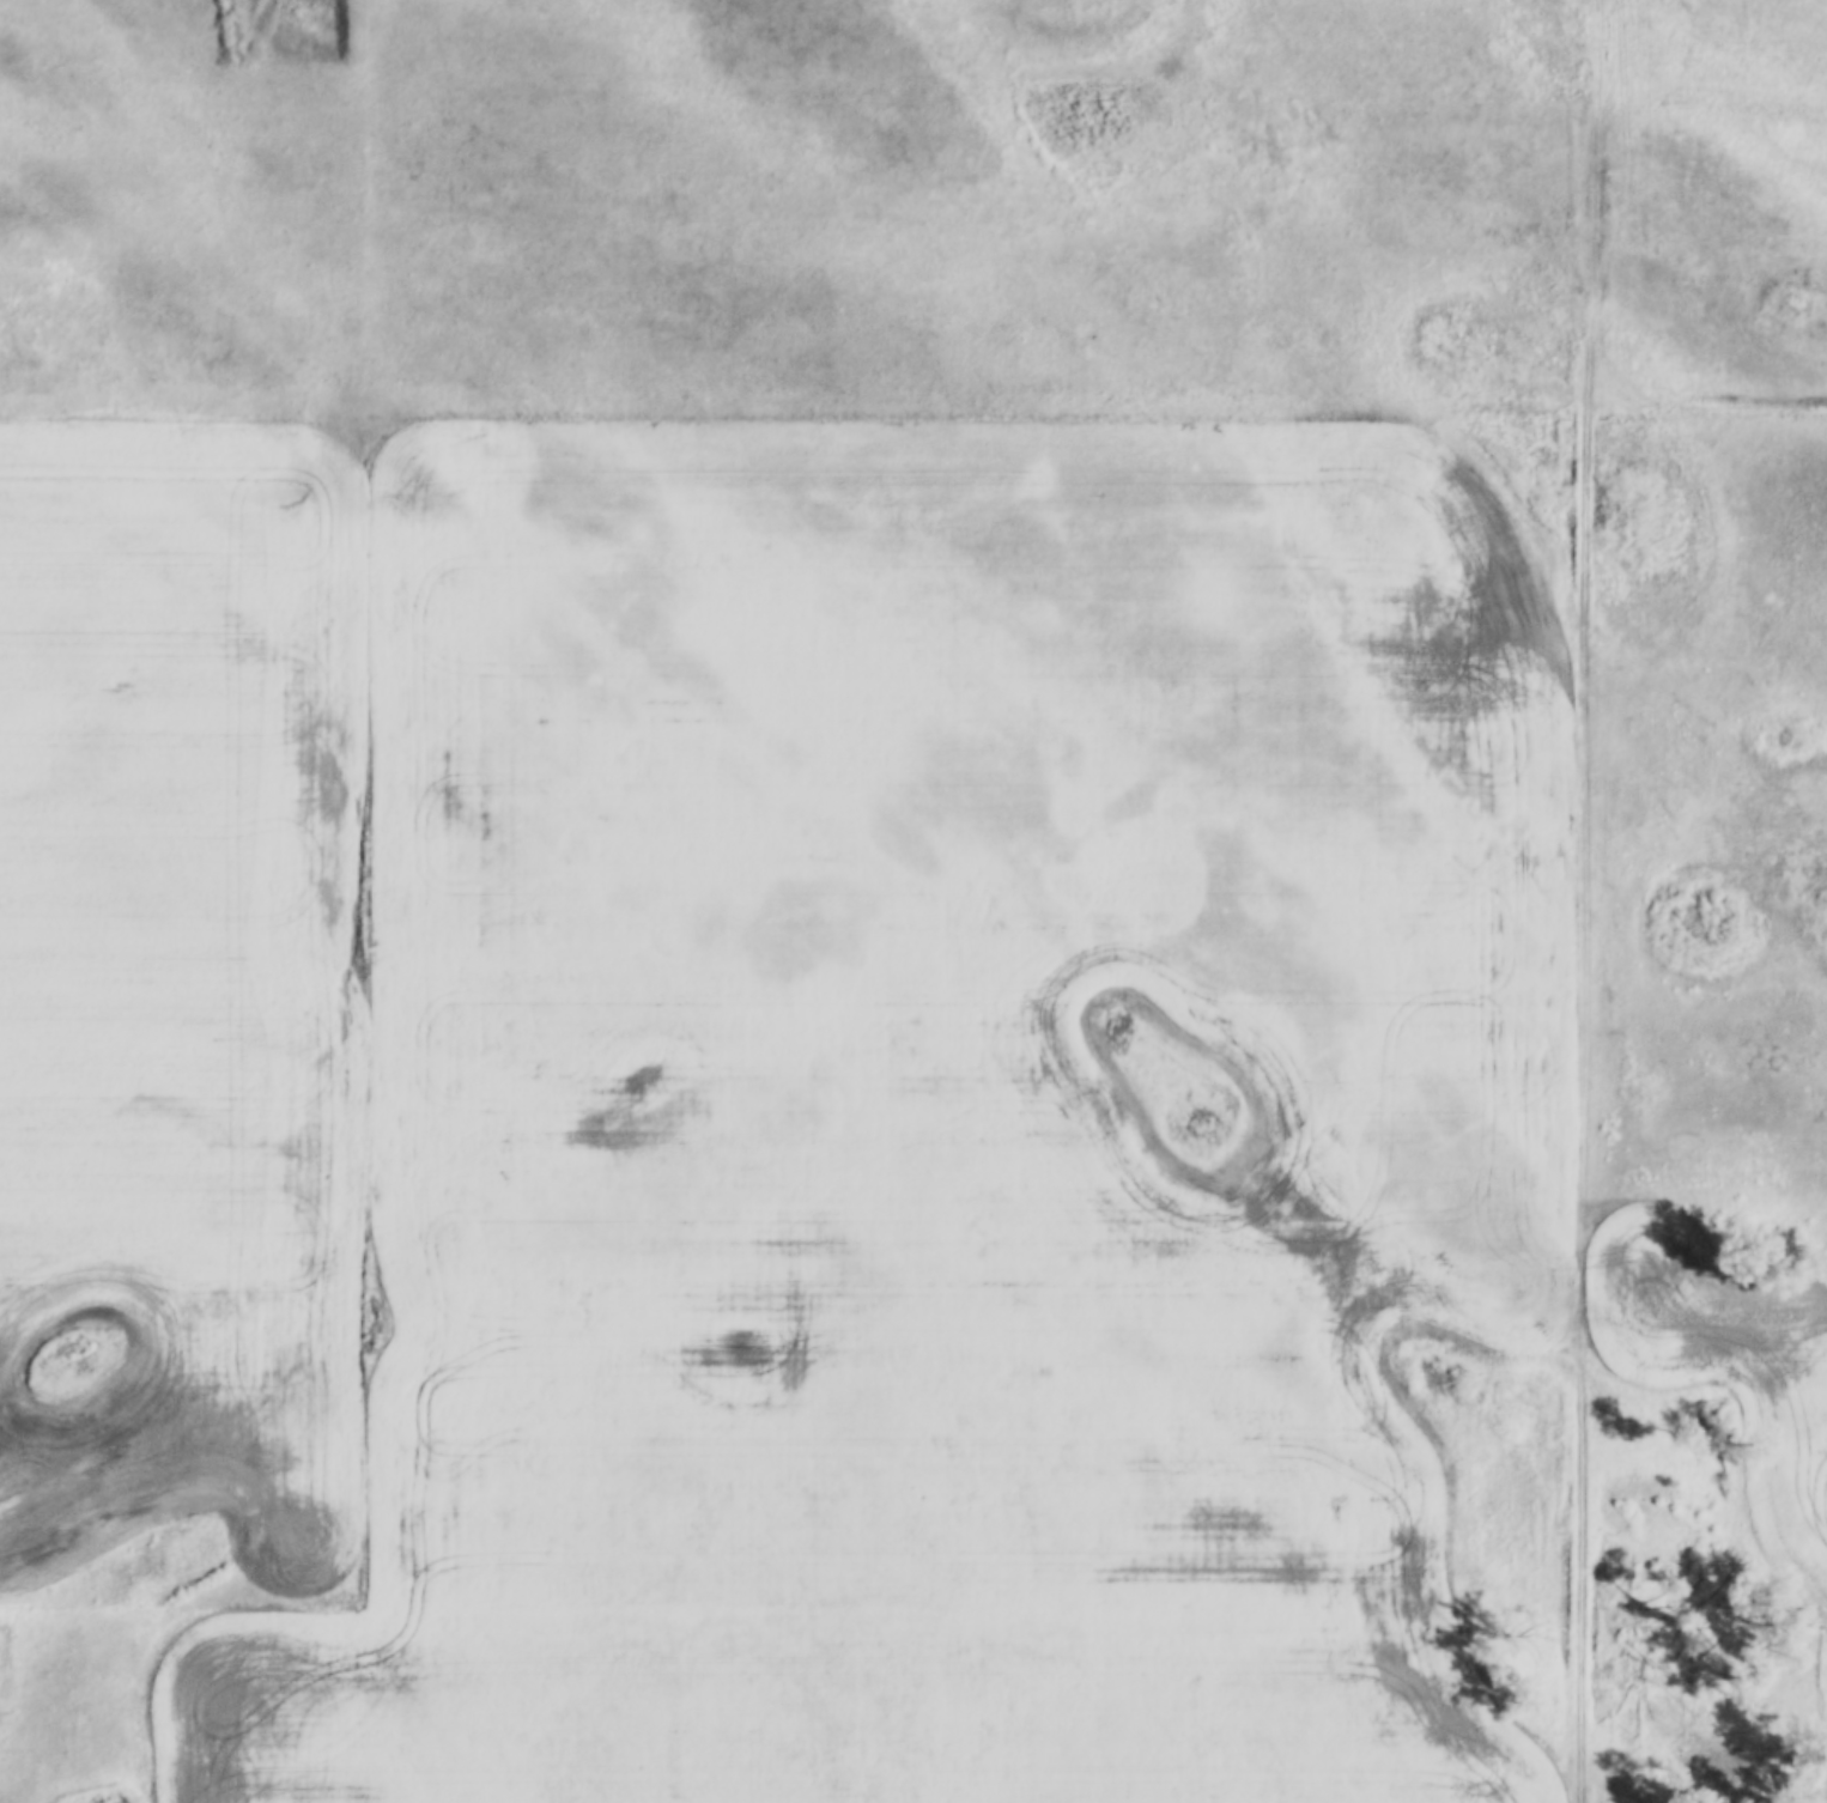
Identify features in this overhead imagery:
road: (1584, 900)

